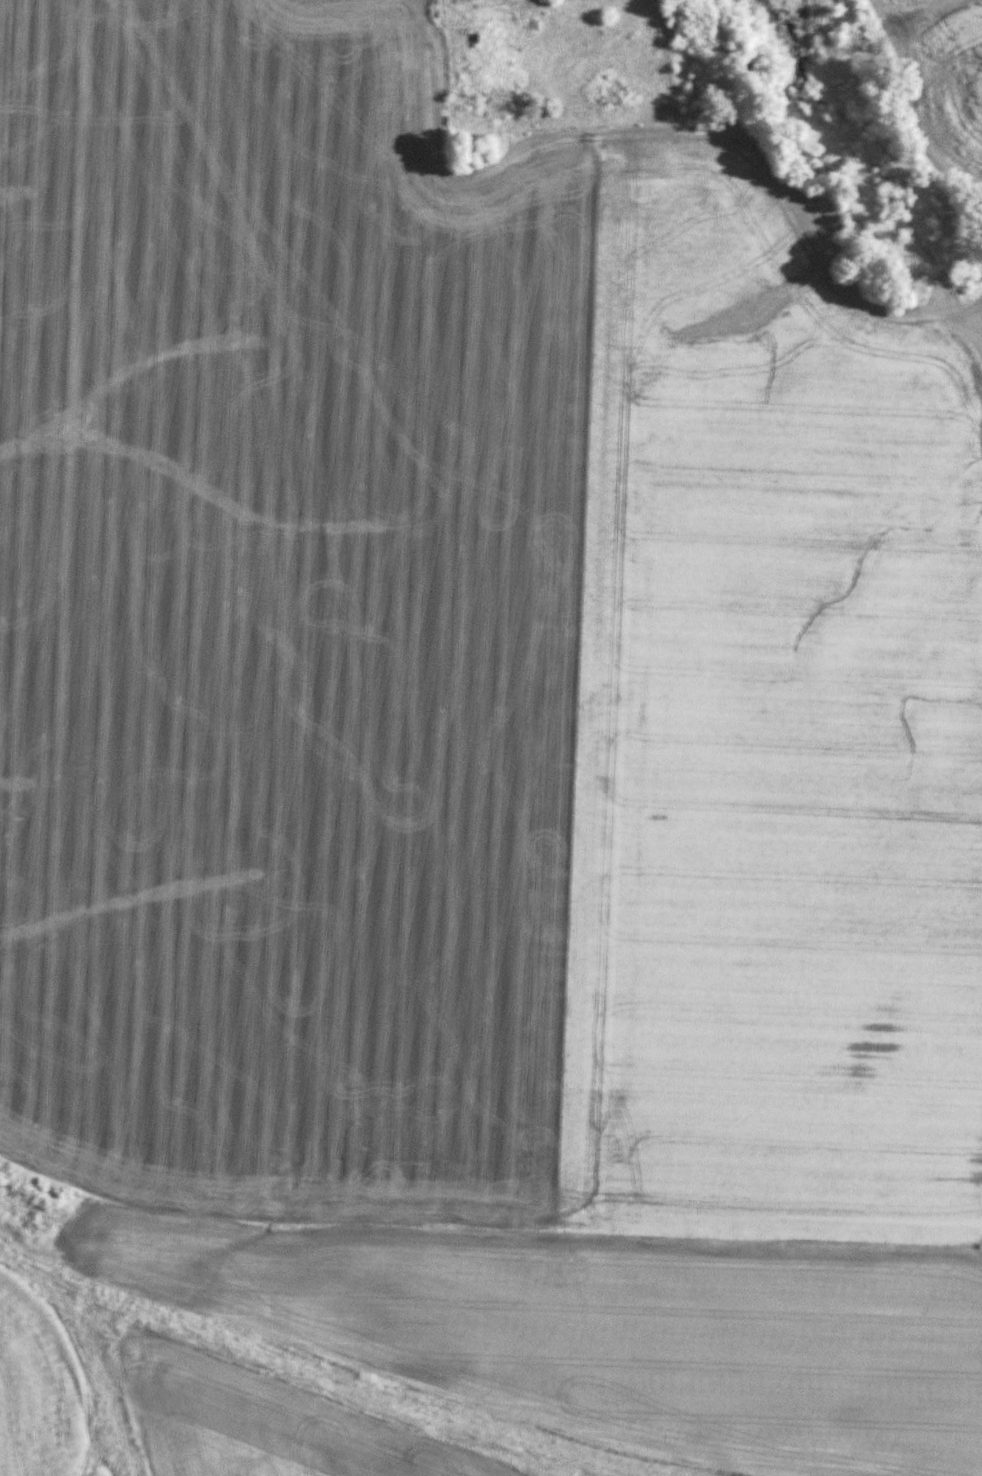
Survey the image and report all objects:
road: (662, 133)

